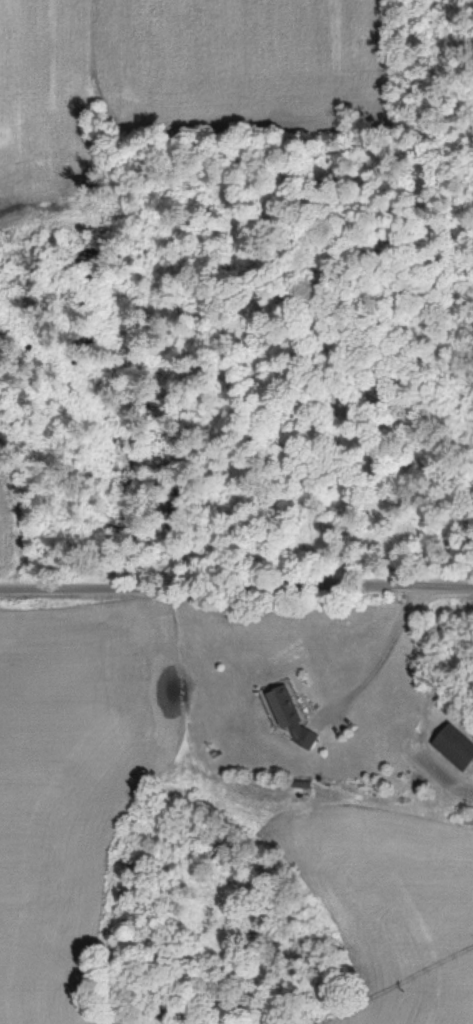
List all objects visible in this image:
crop: (174, 77)
crop: (11, 515)
road: (236, 585)
road: (381, 663)
building: (296, 718)
building: (457, 747)
crop: (197, 856)

